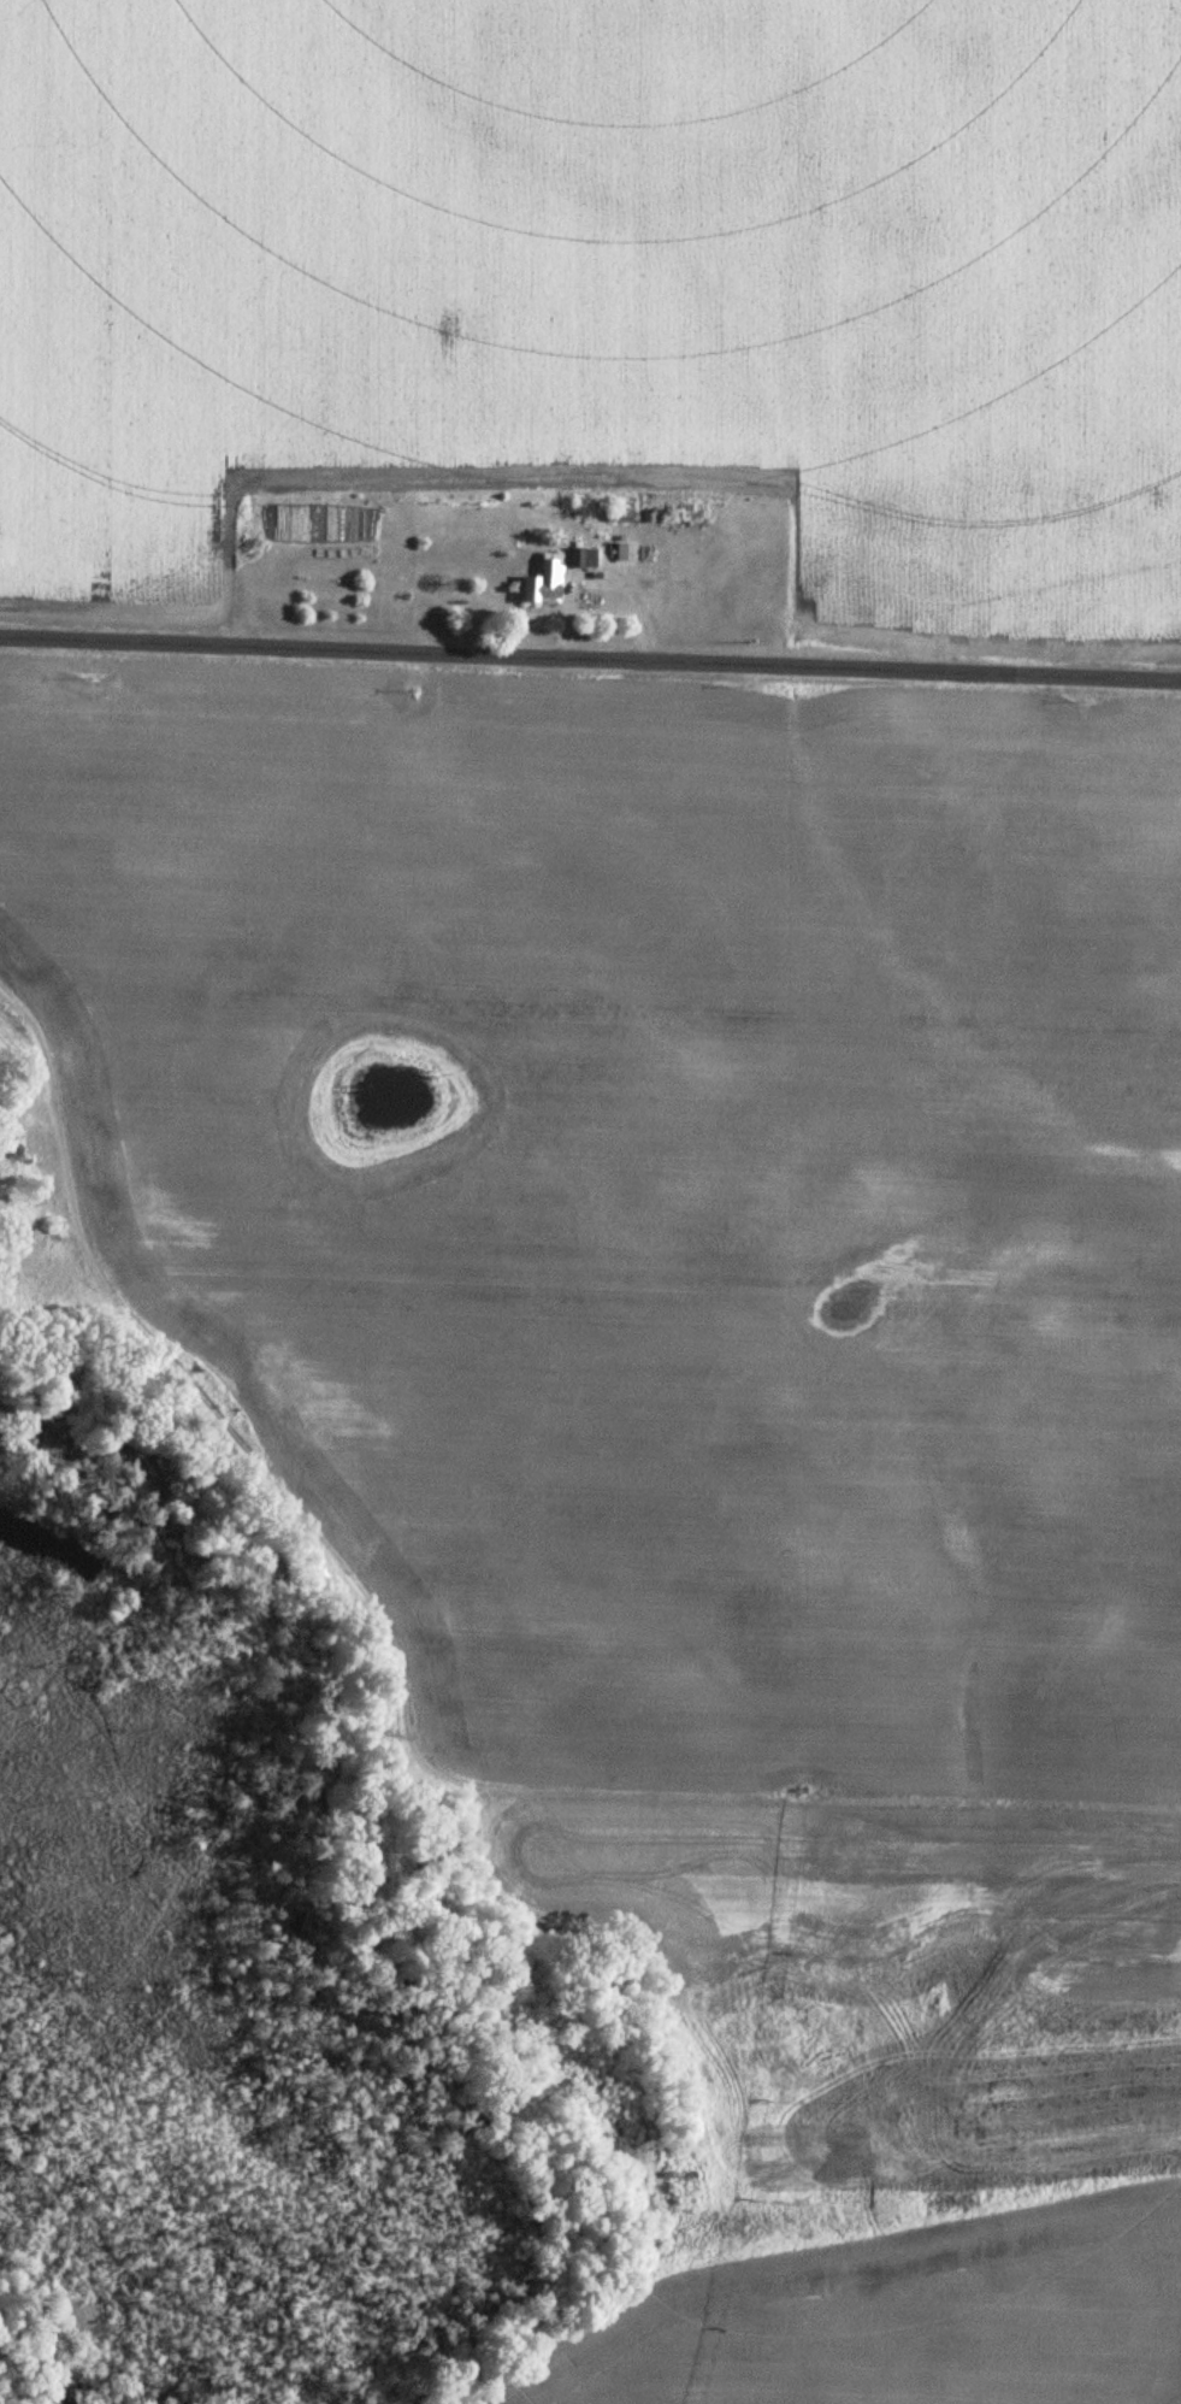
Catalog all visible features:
building: (613, 522)
building: (577, 559)
building: (537, 584)
road: (590, 658)
road: (515, 1410)

